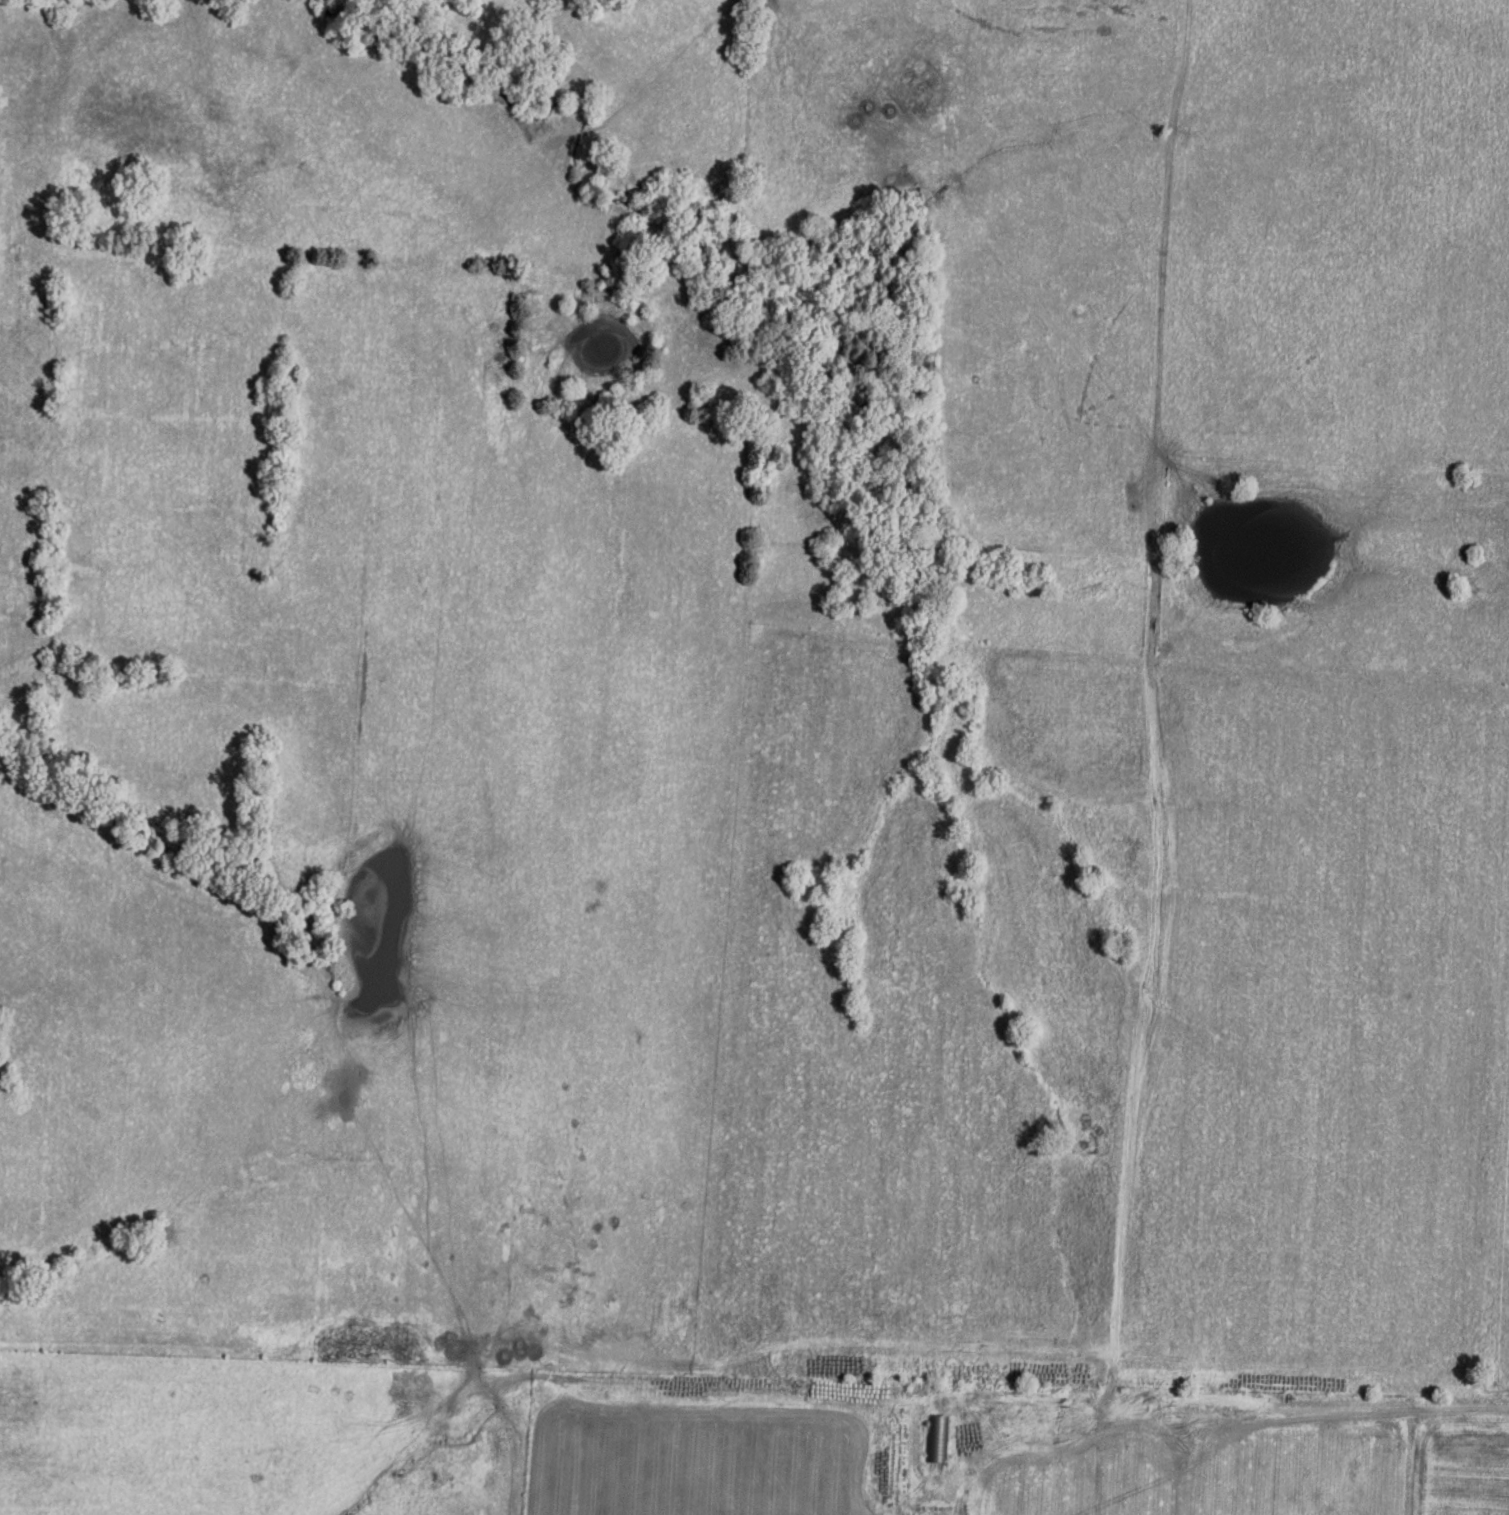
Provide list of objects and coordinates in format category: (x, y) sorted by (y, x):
road: (1145, 695)
road: (1275, 1404)

